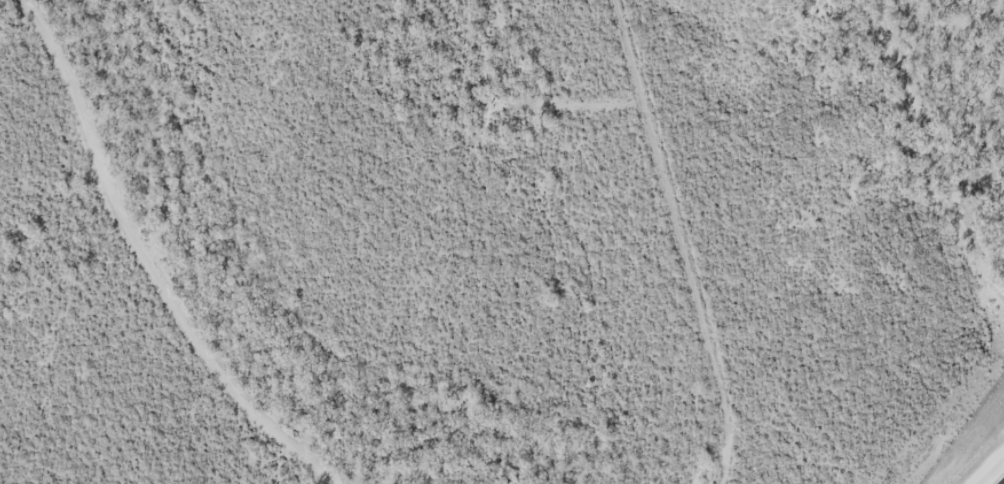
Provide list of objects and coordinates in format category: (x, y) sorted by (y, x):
road: (1001, 481)

